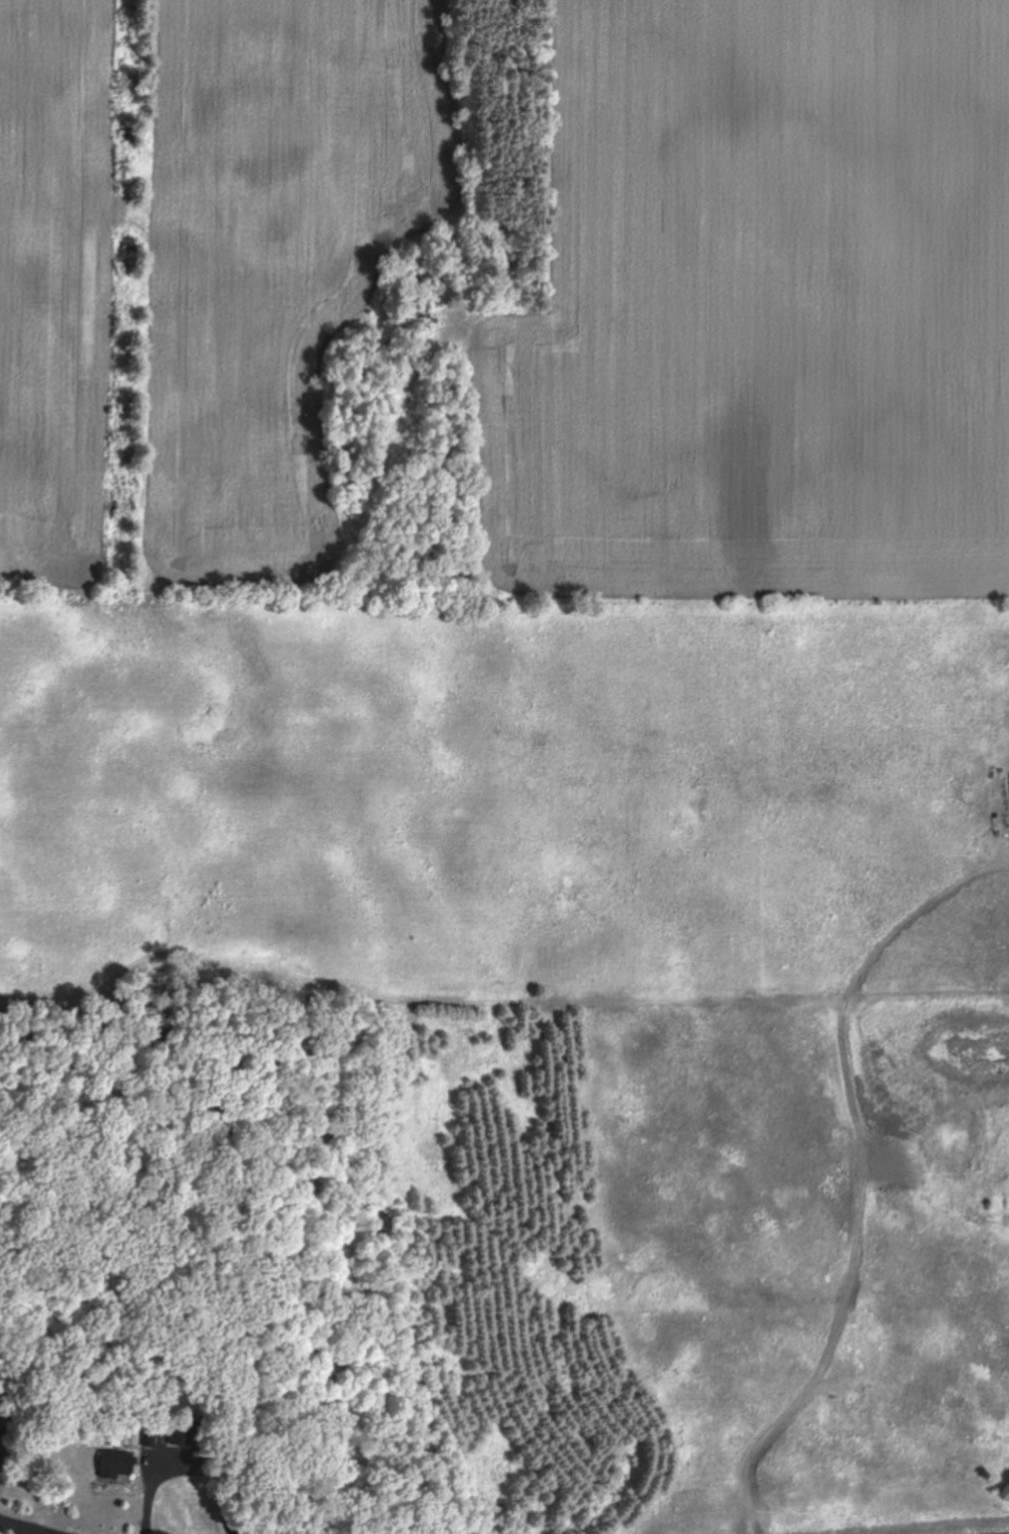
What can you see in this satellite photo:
building: (3, 1418)
building: (180, 1433)
building: (112, 1467)
road: (30, 1525)

